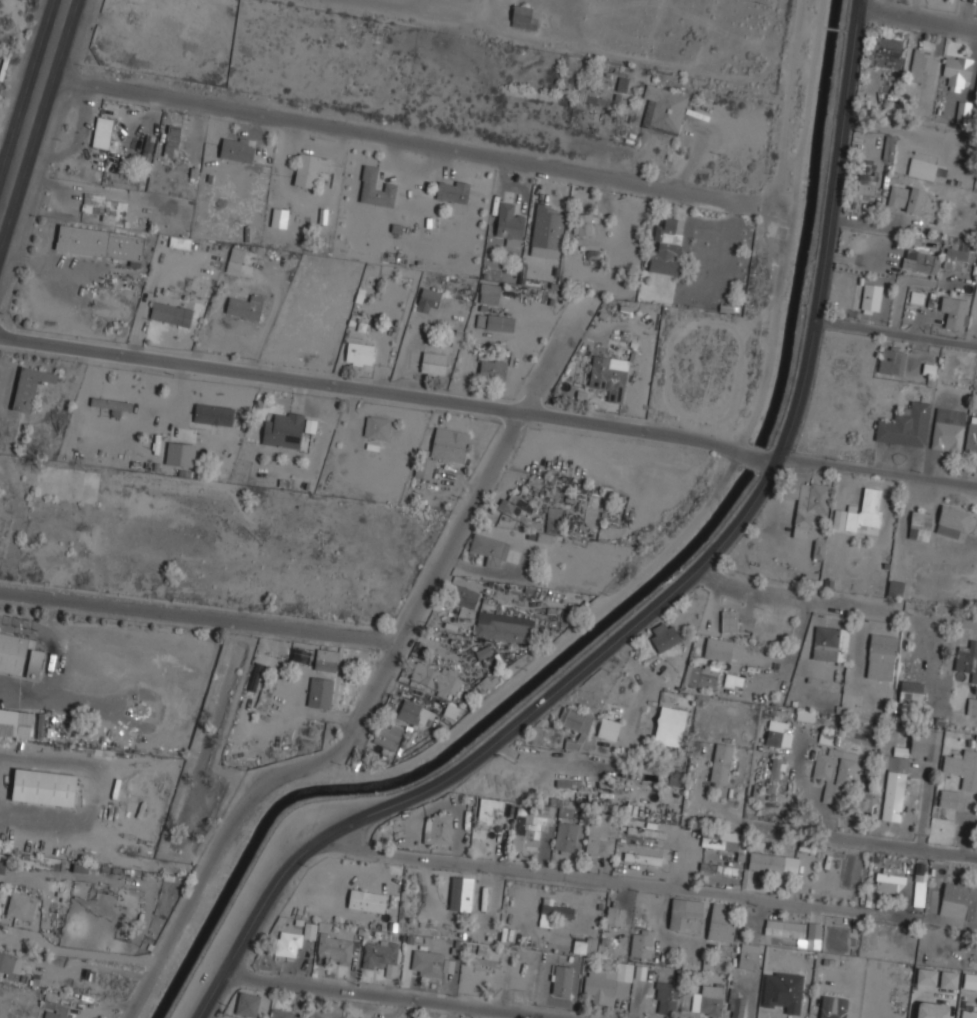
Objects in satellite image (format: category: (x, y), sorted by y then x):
parking lot: (442, 7)
road: (917, 13)
building: (524, 16)
building: (889, 46)
building: (924, 66)
building: (957, 70)
building: (976, 92)
road: (29, 102)
road: (805, 108)
building: (664, 109)
building: (964, 110)
building: (103, 131)
road: (397, 135)
building: (172, 140)
building: (890, 146)
building: (237, 148)
building: (147, 150)
road: (5, 165)
building: (310, 168)
building: (925, 168)
building: (867, 185)
building: (376, 187)
building: (452, 190)
building: (905, 197)
building: (105, 206)
building: (510, 223)
building: (586, 223)
building: (547, 226)
building: (101, 242)
building: (180, 242)
building: (667, 245)
building: (955, 258)
building: (235, 259)
building: (921, 260)
building: (490, 292)
building: (871, 297)
building: (429, 298)
building: (245, 306)
building: (955, 311)
building: (171, 313)
building: (495, 321)
road: (895, 335)
road: (557, 348)
building: (360, 353)
building: (892, 360)
building: (434, 363)
building: (492, 370)
building: (610, 375)
building: (29, 386)
building: (112, 403)
road: (489, 404)
building: (213, 413)
building: (906, 425)
building: (309, 426)
building: (377, 427)
building: (949, 428)
building: (283, 429)
building: (972, 436)
building: (450, 443)
building: (180, 453)
building: (424, 466)
building: (67, 483)
building: (808, 503)
building: (515, 508)
building: (554, 511)
building: (860, 511)
building: (954, 520)
building: (920, 525)
building: (551, 527)
building: (490, 548)
building: (818, 549)
building: (896, 587)
building: (463, 595)
road: (668, 595)
road: (837, 601)
road: (415, 609)
road: (199, 615)
building: (729, 620)
building: (503, 626)
building: (665, 636)
building: (831, 642)
building: (724, 649)
building: (19, 654)
building: (882, 655)
building: (968, 659)
building: (327, 660)
building: (703, 675)
building: (254, 677)
building: (436, 677)
building: (487, 681)
building: (321, 691)
building: (911, 691)
road: (711, 692)
building: (972, 705)
building: (451, 710)
building: (415, 712)
building: (805, 715)
building: (22, 723)
building: (575, 724)
building: (670, 725)
building: (609, 728)
building: (779, 733)
building: (388, 735)
building: (925, 743)
building: (723, 762)
road: (49, 763)
building: (962, 768)
building: (775, 774)
building: (836, 774)
building: (894, 784)
building: (44, 786)
building: (664, 794)
building: (948, 798)
building: (632, 806)
building: (488, 808)
building: (539, 822)
building: (438, 829)
building: (641, 829)
building: (602, 834)
building: (568, 837)
road: (860, 838)
building: (722, 839)
building: (642, 857)
building: (773, 862)
building: (2, 865)
building: (720, 872)
building: (920, 873)
road: (601, 880)
building: (887, 881)
road: (197, 890)
building: (461, 891)
building: (959, 900)
building: (366, 901)
building: (21, 905)
building: (553, 914)
building: (615, 914)
building: (686, 914)
building: (722, 921)
building: (784, 927)
building: (309, 931)
building: (814, 935)
building: (642, 942)
building: (289, 943)
building: (336, 948)
building: (382, 955)
building: (750, 955)
building: (431, 963)
building: (10, 964)
road: (105, 968)
building: (926, 976)
building: (948, 980)
building: (970, 980)
building: (561, 981)
building: (609, 983)
building: (782, 991)
building: (666, 996)
road: (394, 997)
building: (708, 999)
building: (248, 1003)
building: (735, 1005)
building: (832, 1012)
building: (969, 1012)
building: (56, 1013)
building: (280, 1013)
building: (936, 1014)

